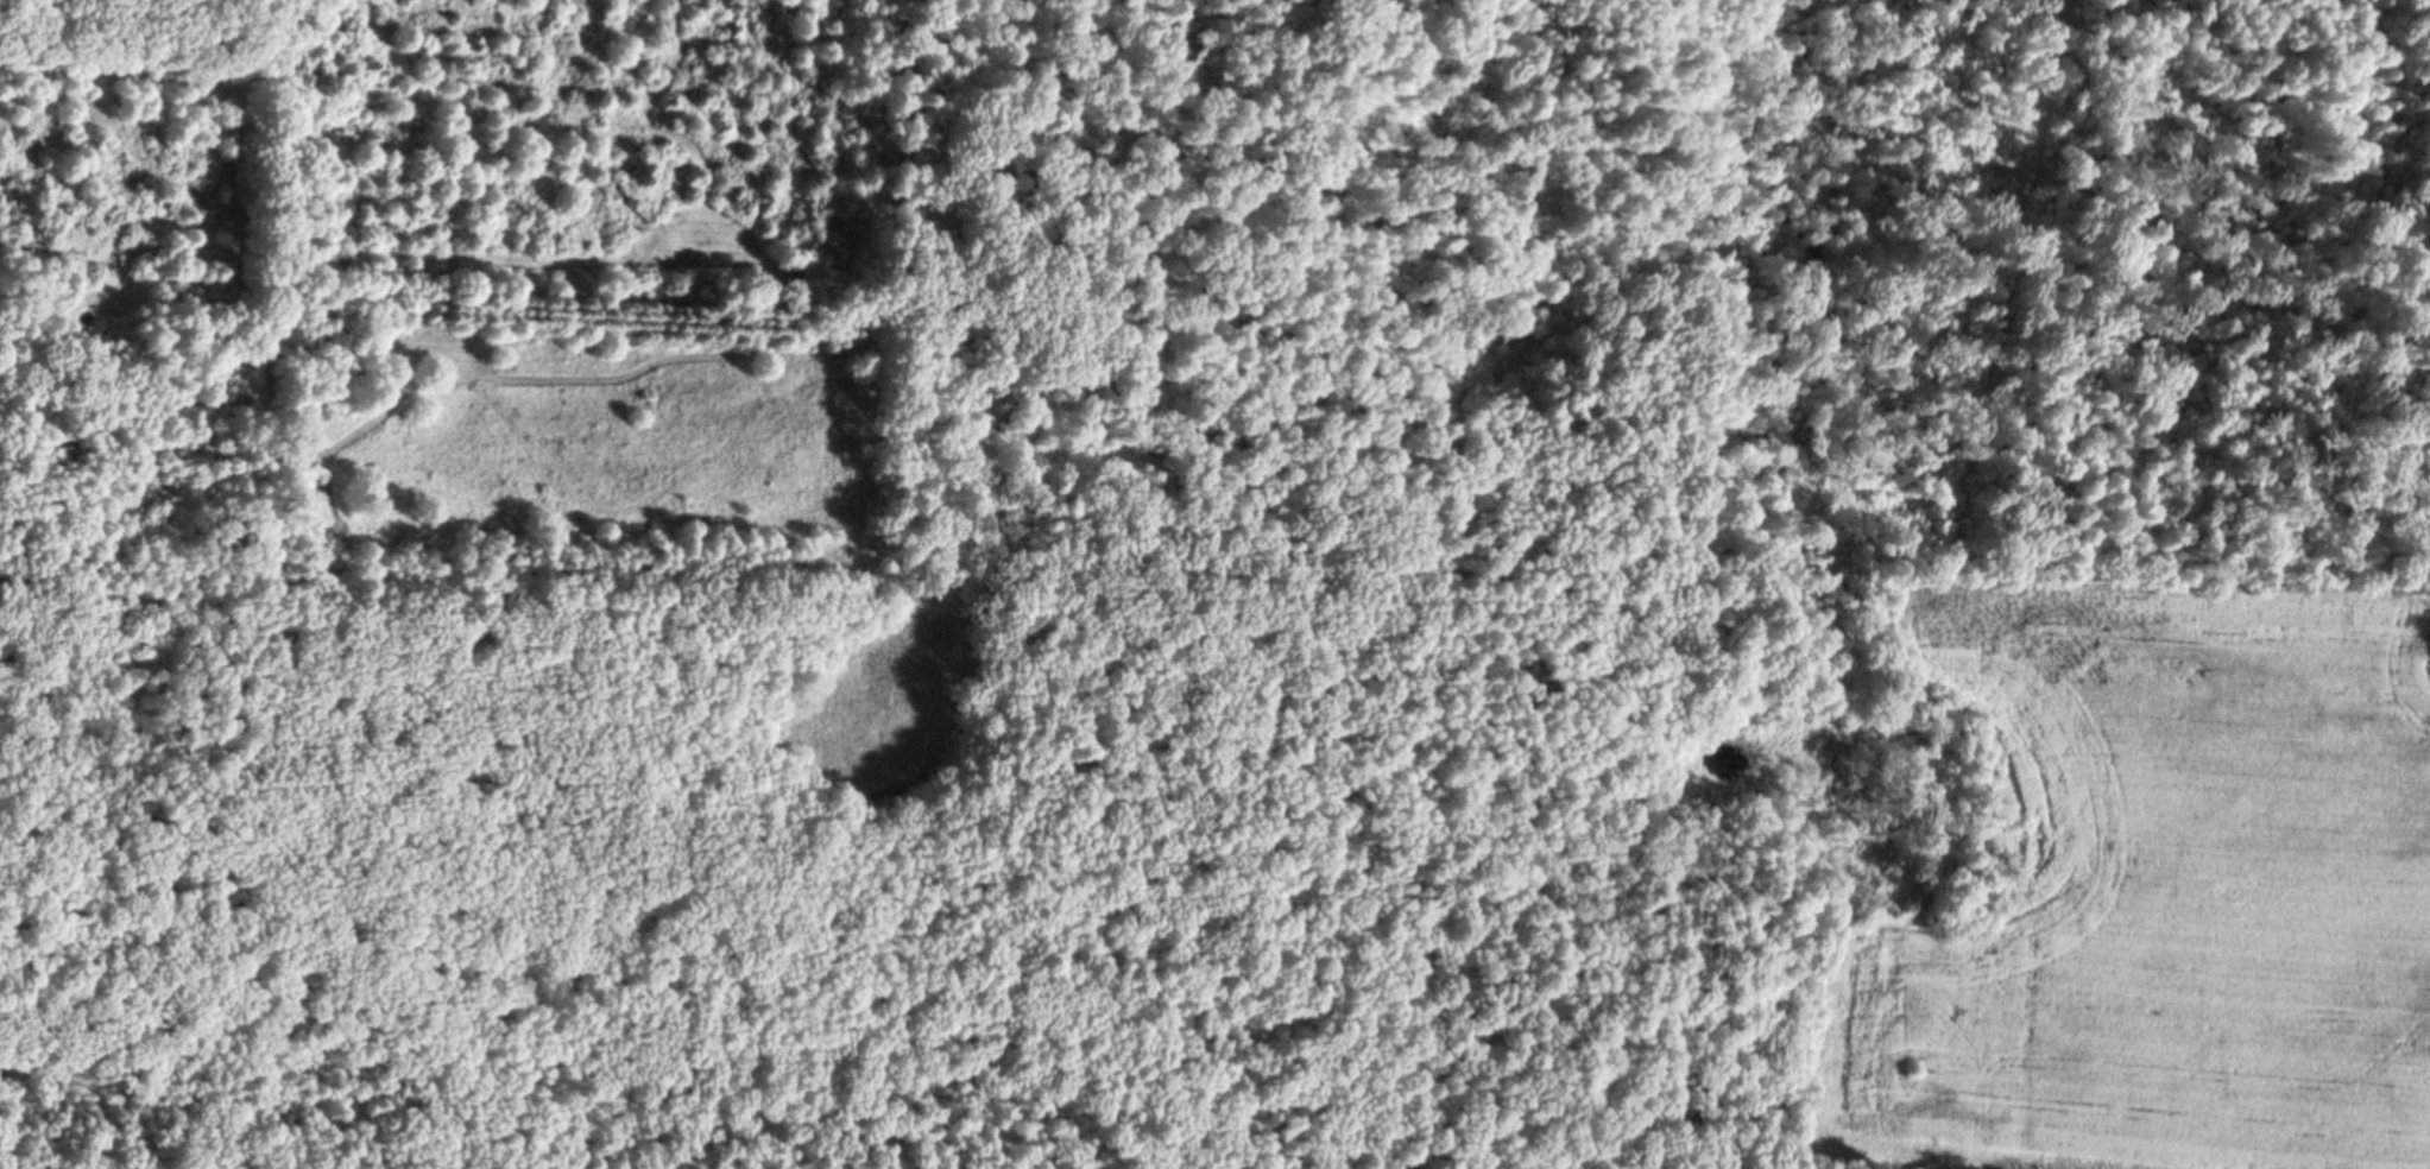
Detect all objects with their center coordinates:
road: (302, 188)
road: (272, 407)

